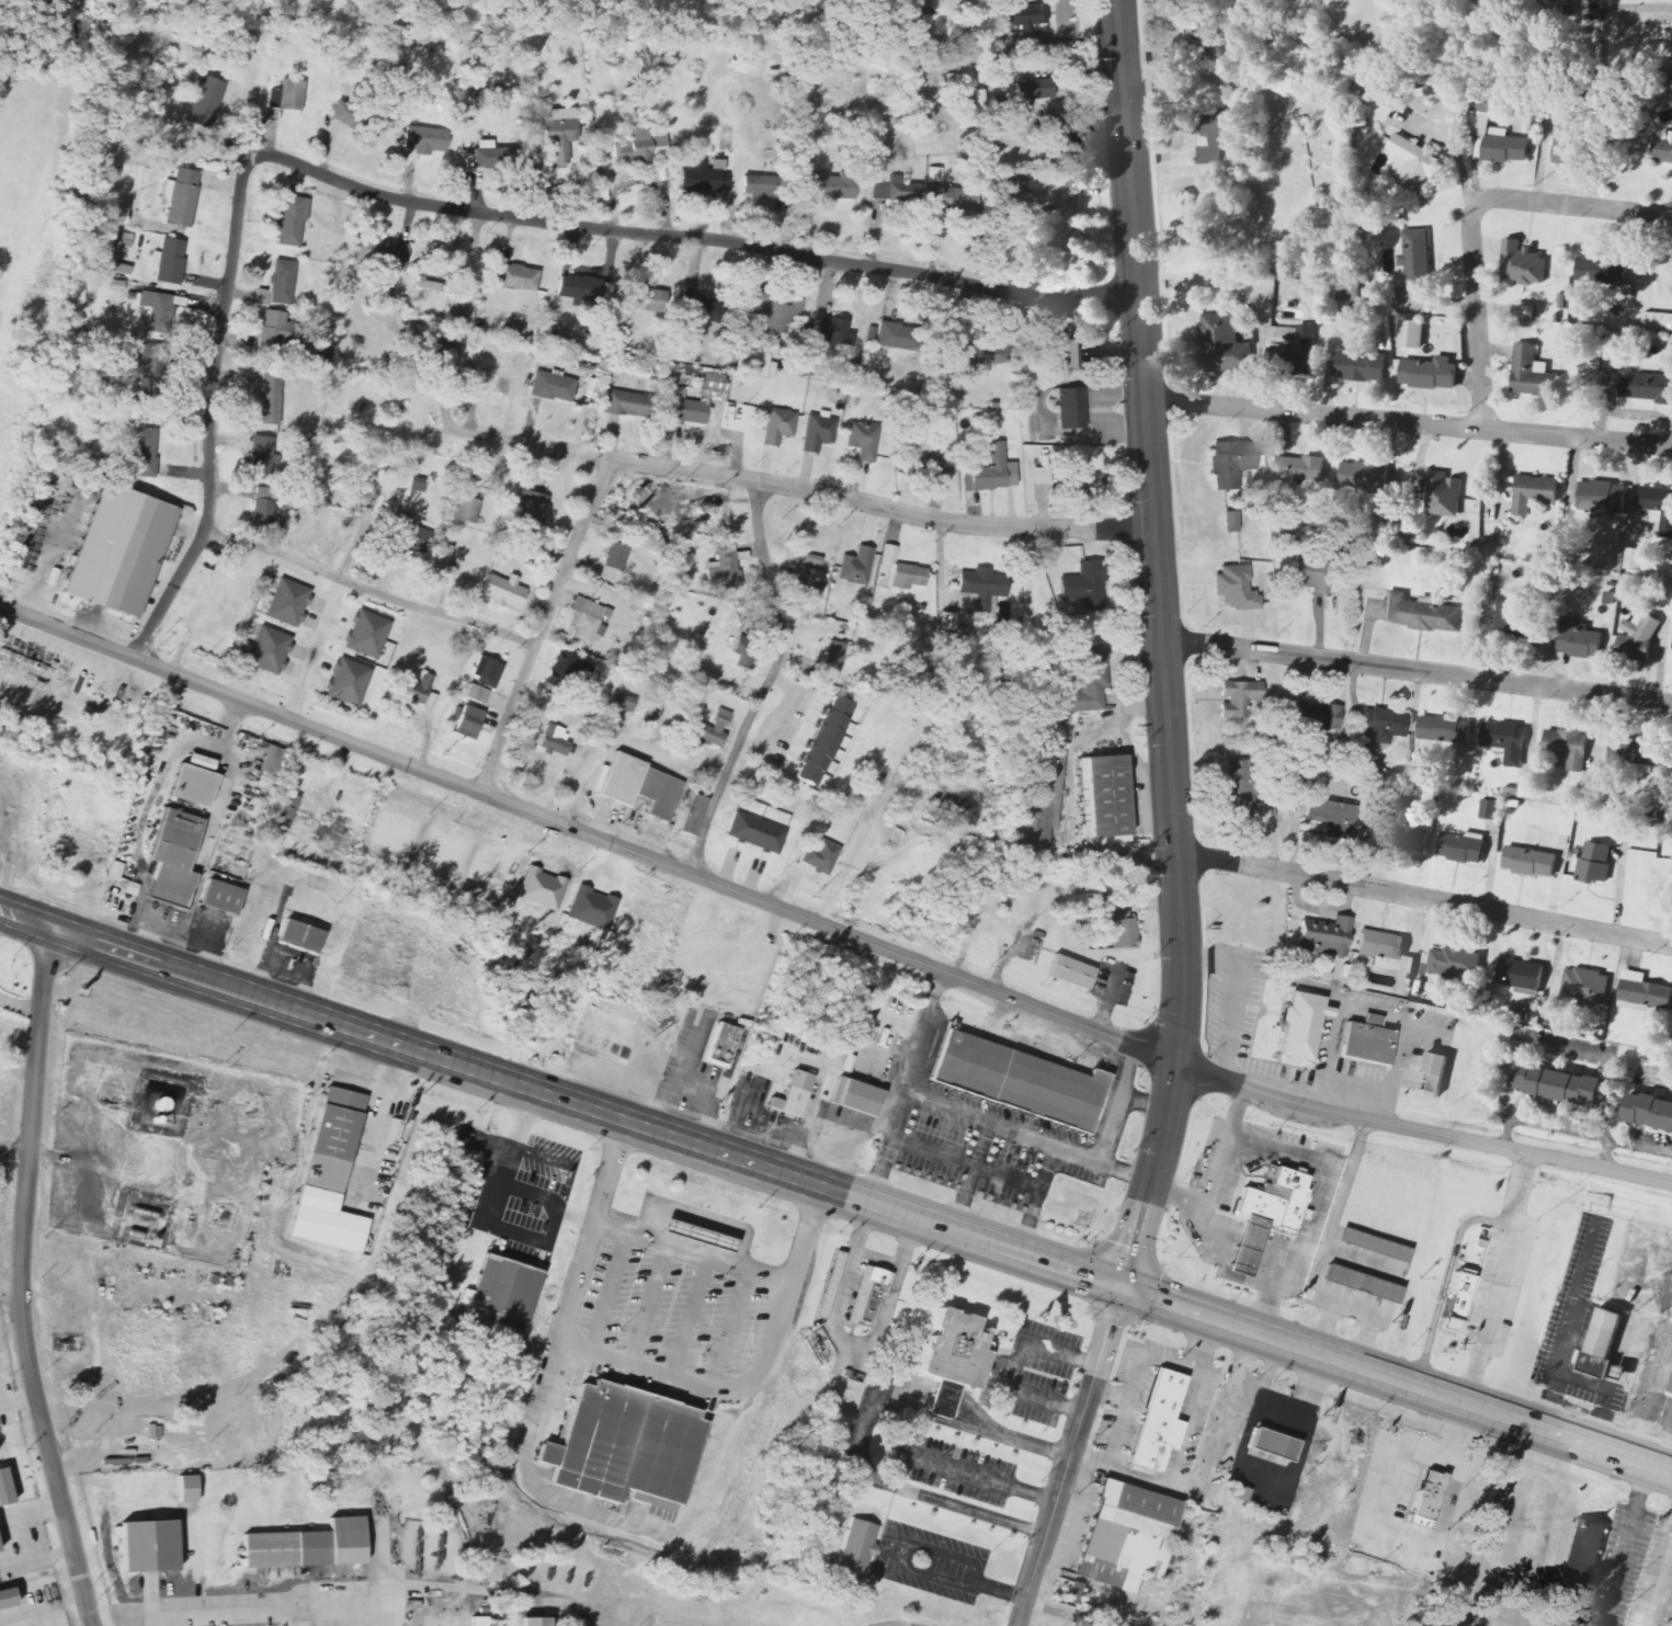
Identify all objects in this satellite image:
road: (1642, 10)
building: (1021, 15)
building: (919, 19)
building: (1195, 39)
building: (964, 87)
building: (1033, 90)
building: (287, 94)
building: (204, 102)
building: (1000, 102)
building: (1379, 106)
building: (352, 117)
building: (558, 133)
building: (1210, 135)
building: (1493, 136)
building: (424, 140)
building: (633, 147)
building: (1571, 147)
building: (1662, 148)
building: (491, 157)
building: (1412, 162)
building: (112, 171)
building: (934, 175)
building: (703, 178)
building: (830, 186)
building: (892, 189)
building: (181, 197)
building: (957, 197)
building: (1071, 202)
building: (116, 208)
road: (1572, 209)
building: (291, 220)
road: (692, 236)
building: (1062, 239)
building: (111, 253)
building: (380, 254)
building: (1415, 258)
building: (168, 261)
building: (1522, 265)
building: (1600, 270)
building: (516, 277)
building: (278, 284)
building: (578, 288)
building: (642, 297)
building: (1345, 299)
building: (701, 311)
building: (157, 312)
building: (1523, 312)
building: (773, 315)
building: (1658, 321)
road: (1478, 322)
building: (274, 329)
building: (834, 332)
building: (1411, 334)
building: (890, 336)
building: (564, 340)
building: (1224, 343)
building: (1297, 352)
building: (1064, 355)
building: (981, 357)
building: (943, 359)
building: (761, 365)
building: (1358, 367)
building: (149, 369)
building: (1429, 373)
building: (1531, 374)
building: (712, 383)
building: (553, 387)
building: (1647, 388)
building: (271, 396)
building: (625, 403)
building: (683, 409)
building: (1070, 409)
road: (209, 412)
road: (1408, 421)
building: (777, 427)
building: (818, 432)
building: (862, 441)
building: (144, 453)
building: (261, 458)
building: (1230, 463)
road: (694, 469)
building: (930, 470)
building: (1299, 470)
building: (992, 471)
building: (42, 476)
building: (1366, 479)
building: (418, 485)
building: (1083, 486)
building: (1533, 493)
building: (1443, 496)
building: (1601, 496)
building: (263, 505)
building: (1658, 508)
building: (531, 509)
building: (464, 510)
building: (1230, 522)
building: (1385, 523)
building: (408, 534)
building: (116, 552)
building: (1634, 559)
building: (811, 560)
building: (613, 562)
building: (1374, 562)
building: (855, 567)
building: (724, 568)
building: (908, 576)
building: (806, 582)
building: (1084, 585)
road: (368, 587)
building: (1235, 589)
building: (979, 590)
building: (502, 591)
building: (287, 603)
building: (1420, 614)
building: (1508, 615)
building: (588, 619)
building: (947, 622)
road: (543, 623)
building: (366, 634)
building: (1637, 637)
building: (1576, 639)
road: (1161, 647)
building: (270, 651)
building: (744, 652)
power tower: (186, 658)
building: (833, 659)
building: (570, 667)
road: (1417, 670)
building: (486, 673)
road: (769, 680)
building: (1088, 681)
building: (349, 682)
building: (419, 690)
building: (475, 694)
building: (1237, 696)
building: (622, 704)
building: (1316, 717)
building: (467, 723)
building: (1381, 728)
building: (1443, 729)
building: (710, 730)
building: (555, 741)
building: (821, 741)
building: (1504, 741)
building: (1567, 748)
building: (1631, 751)
power tower: (443, 755)
building: (272, 762)
building: (192, 782)
building: (640, 787)
road: (473, 788)
building: (1526, 788)
building: (1238, 791)
building: (1106, 796)
building: (1039, 799)
building: (1488, 809)
building: (284, 810)
building: (692, 816)
building: (1332, 817)
power tower: (622, 825)
building: (1408, 831)
building: (755, 833)
building: (1463, 848)
building: (820, 856)
building: (172, 860)
building: (1528, 862)
building: (1594, 862)
building: (220, 898)
road: (1425, 898)
power tower: (811, 899)
building: (592, 909)
road: (15, 914)
building: (1121, 924)
building: (299, 936)
road: (152, 937)
building: (1323, 937)
building: (1385, 952)
building: (1454, 963)
power tower: (991, 968)
building: (1069, 973)
building: (1520, 976)
building: (1585, 987)
building: (1642, 992)
road: (1352, 996)
road: (20, 1005)
building: (1534, 1016)
road: (1060, 1017)
road: (1230, 1023)
building: (1303, 1024)
power tower: (1141, 1025)
building: (1369, 1042)
building: (602, 1044)
building: (720, 1045)
road: (1330, 1051)
building: (1437, 1069)
building: (1017, 1080)
power tower: (1287, 1081)
building: (1555, 1084)
road: (907, 1089)
building: (855, 1096)
building: (788, 1101)
road: (576, 1105)
building: (1647, 1112)
road: (382, 1117)
power tower: (1487, 1124)
road: (1421, 1133)
road: (1028, 1137)
building: (333, 1139)
road: (14, 1151)
road: (84, 1164)
building: (1288, 1196)
road: (1178, 1197)
building: (1258, 1206)
road: (699, 1220)
road: (1307, 1233)
building: (695, 1235)
gas station: (695, 1235)
building: (1374, 1244)
building: (1244, 1246)
gas station: (1244, 1246)
road: (1326, 1246)
road: (692, 1252)
road: (1363, 1261)
road: (1501, 1278)
road: (22, 1280)
road: (1445, 1283)
building: (1360, 1284)
building: (829, 1285)
building: (865, 1288)
traffic signals: (1121, 1288)
road: (608, 1293)
building: (503, 1294)
road: (1270, 1295)
building: (1457, 1300)
building: (869, 1301)
road: (649, 1305)
road: (691, 1318)
road: (1369, 1320)
road: (731, 1330)
building: (1600, 1341)
building: (955, 1349)
road: (1561, 1352)
road: (1016, 1365)
road: (644, 1368)
road: (1396, 1383)
road: (1645, 1385)
building: (1670, 1391)
road: (18, 1396)
road: (1548, 1405)
road: (1662, 1411)
road: (1226, 1413)
building: (1158, 1424)
building: (623, 1445)
building: (1272, 1445)
road: (1110, 1452)
road: (1069, 1457)
road: (1089, 1457)
road: (978, 1476)
road: (526, 1481)
building: (3, 1488)
building: (185, 1490)
building: (1426, 1497)
building: (1126, 1536)
building: (150, 1542)
road: (1625, 1543)
building: (308, 1545)
building: (856, 1545)
building: (1583, 1550)
building: (0, 1554)
road: (955, 1579)
road: (1657, 1583)
road: (498, 1590)
building: (5, 1595)
road: (258, 1608)
road: (1061, 1613)
building: (1670, 1614)
building: (479, 1622)
building: (527, 1622)

